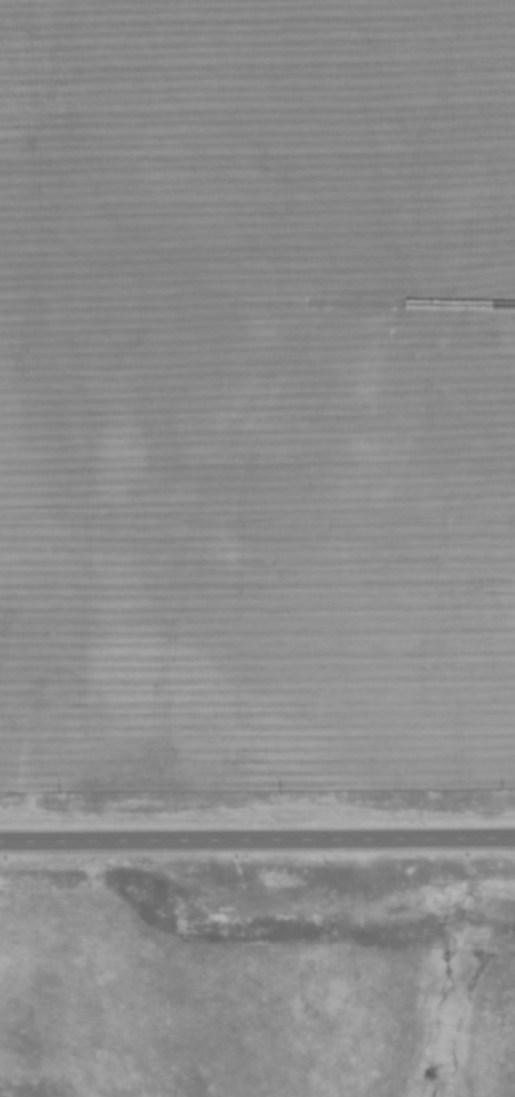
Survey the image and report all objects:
road: (257, 847)

